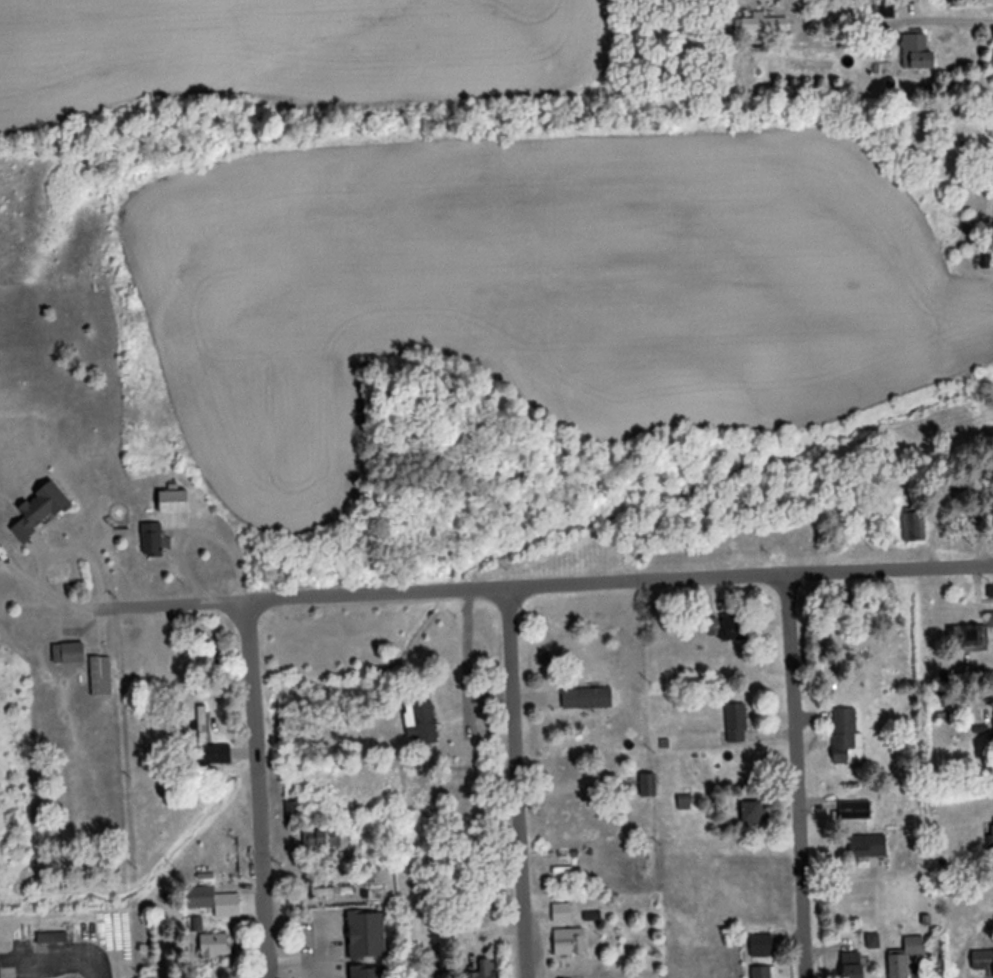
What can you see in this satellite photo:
building: (763, 26)
building: (917, 53)
building: (963, 487)
building: (174, 503)
building: (41, 511)
building: (914, 525)
building: (154, 542)
road: (49, 558)
road: (548, 583)
building: (737, 628)
building: (970, 637)
building: (69, 654)
building: (102, 677)
building: (588, 699)
building: (422, 723)
building: (737, 723)
building: (201, 727)
building: (846, 736)
road: (795, 775)
road: (518, 781)
building: (649, 786)
road: (259, 789)
building: (856, 810)
building: (296, 812)
building: (755, 812)
building: (992, 833)
building: (322, 838)
building: (868, 846)
building: (570, 886)
building: (333, 892)
building: (205, 894)
building: (233, 900)
building: (562, 914)
building: (368, 936)
building: (874, 942)
building: (570, 943)
building: (214, 946)
building: (762, 946)
building: (907, 957)
building: (983, 962)
building: (853, 965)
building: (0, 970)
building: (486, 970)
building: (764, 972)
building: (371, 973)

